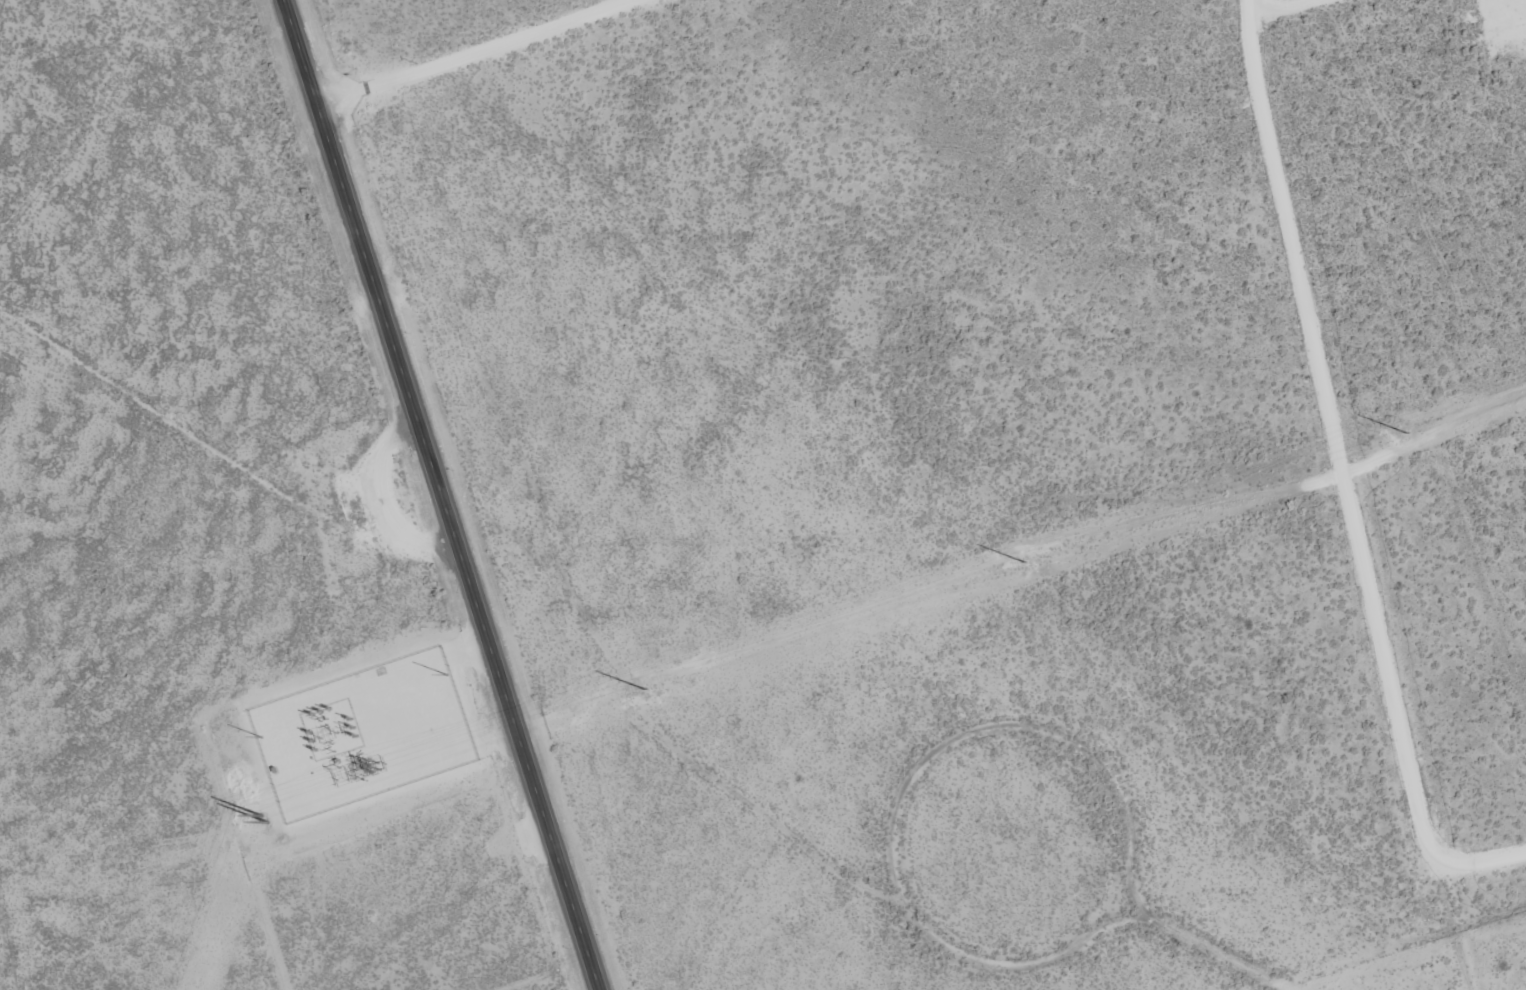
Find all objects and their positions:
road: (475, 51)
road: (442, 494)
road: (1355, 494)
power substation: (364, 736)
power tower: (377, 768)

